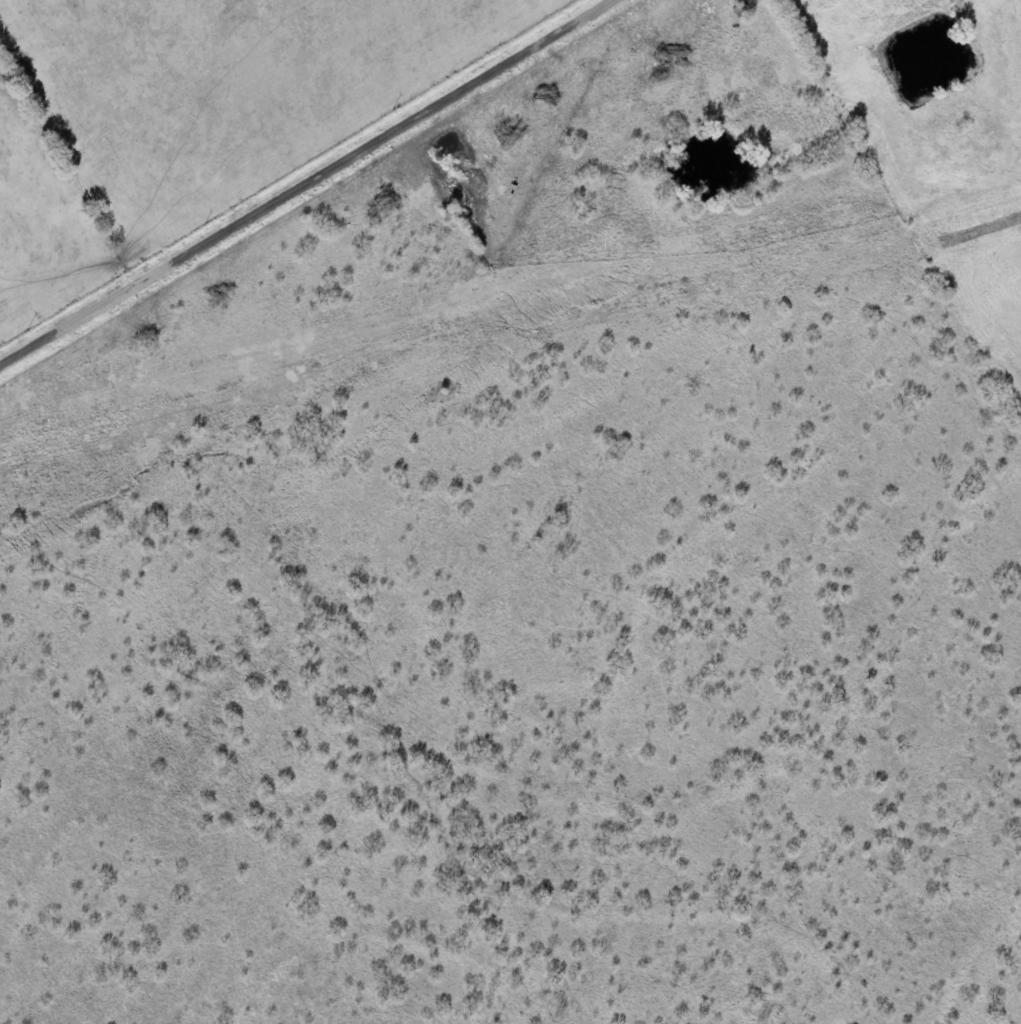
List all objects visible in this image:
road: (311, 185)

